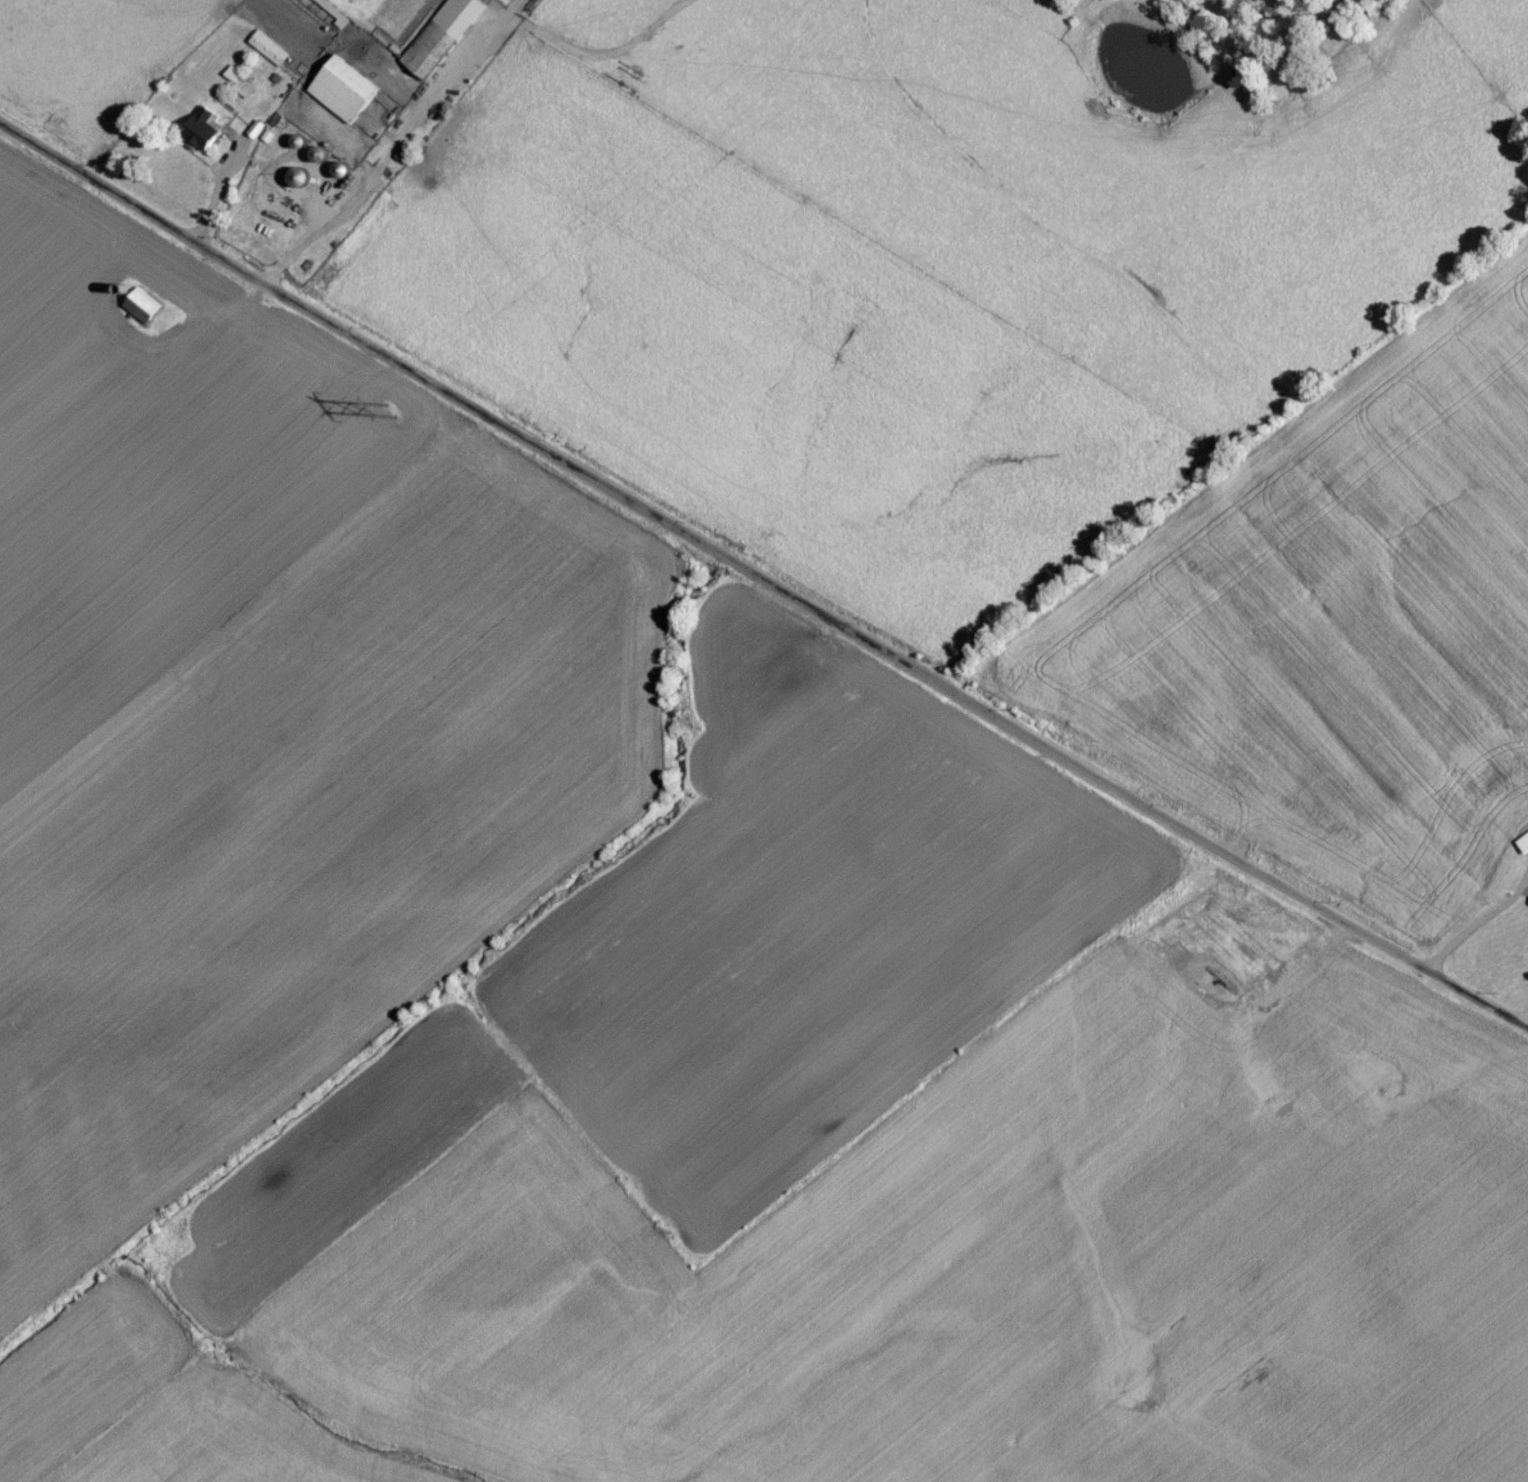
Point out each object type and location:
building: (444, 40)
building: (270, 54)
road: (417, 71)
building: (346, 95)
building: (205, 136)
building: (144, 312)
power tower: (391, 421)
road: (763, 581)
building: (1524, 849)
road: (1526, 1022)

